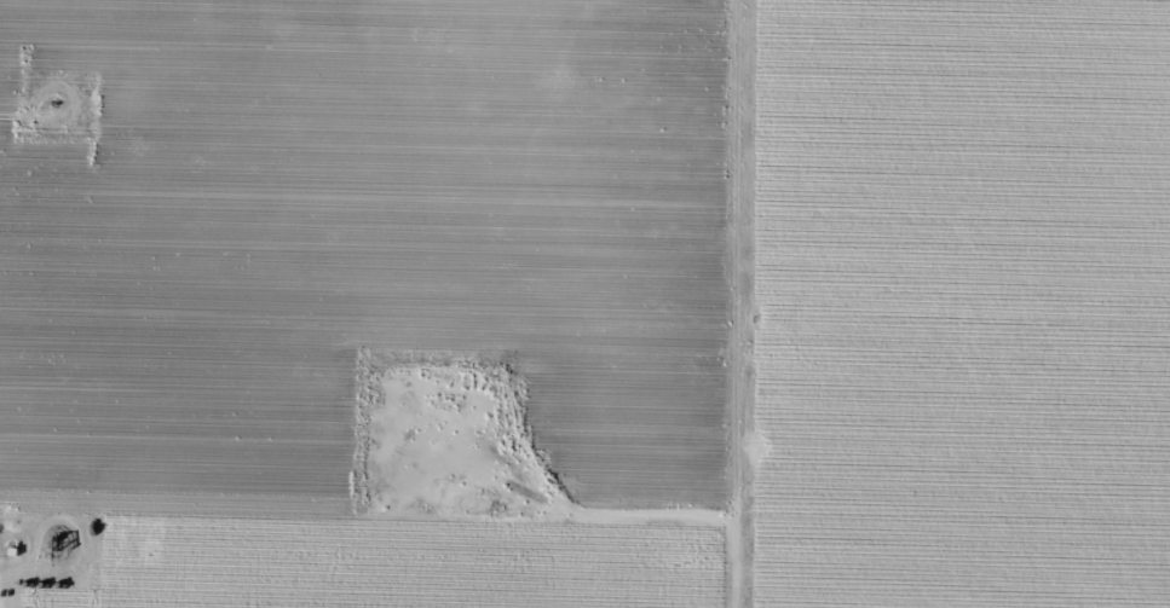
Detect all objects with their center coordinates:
road: (748, 303)

